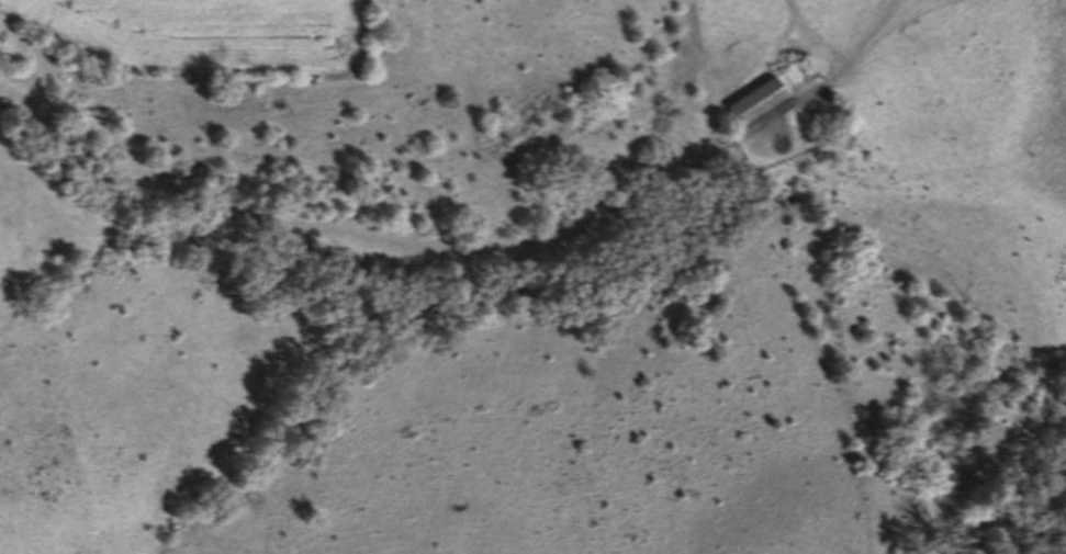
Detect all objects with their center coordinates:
building: (764, 100)

